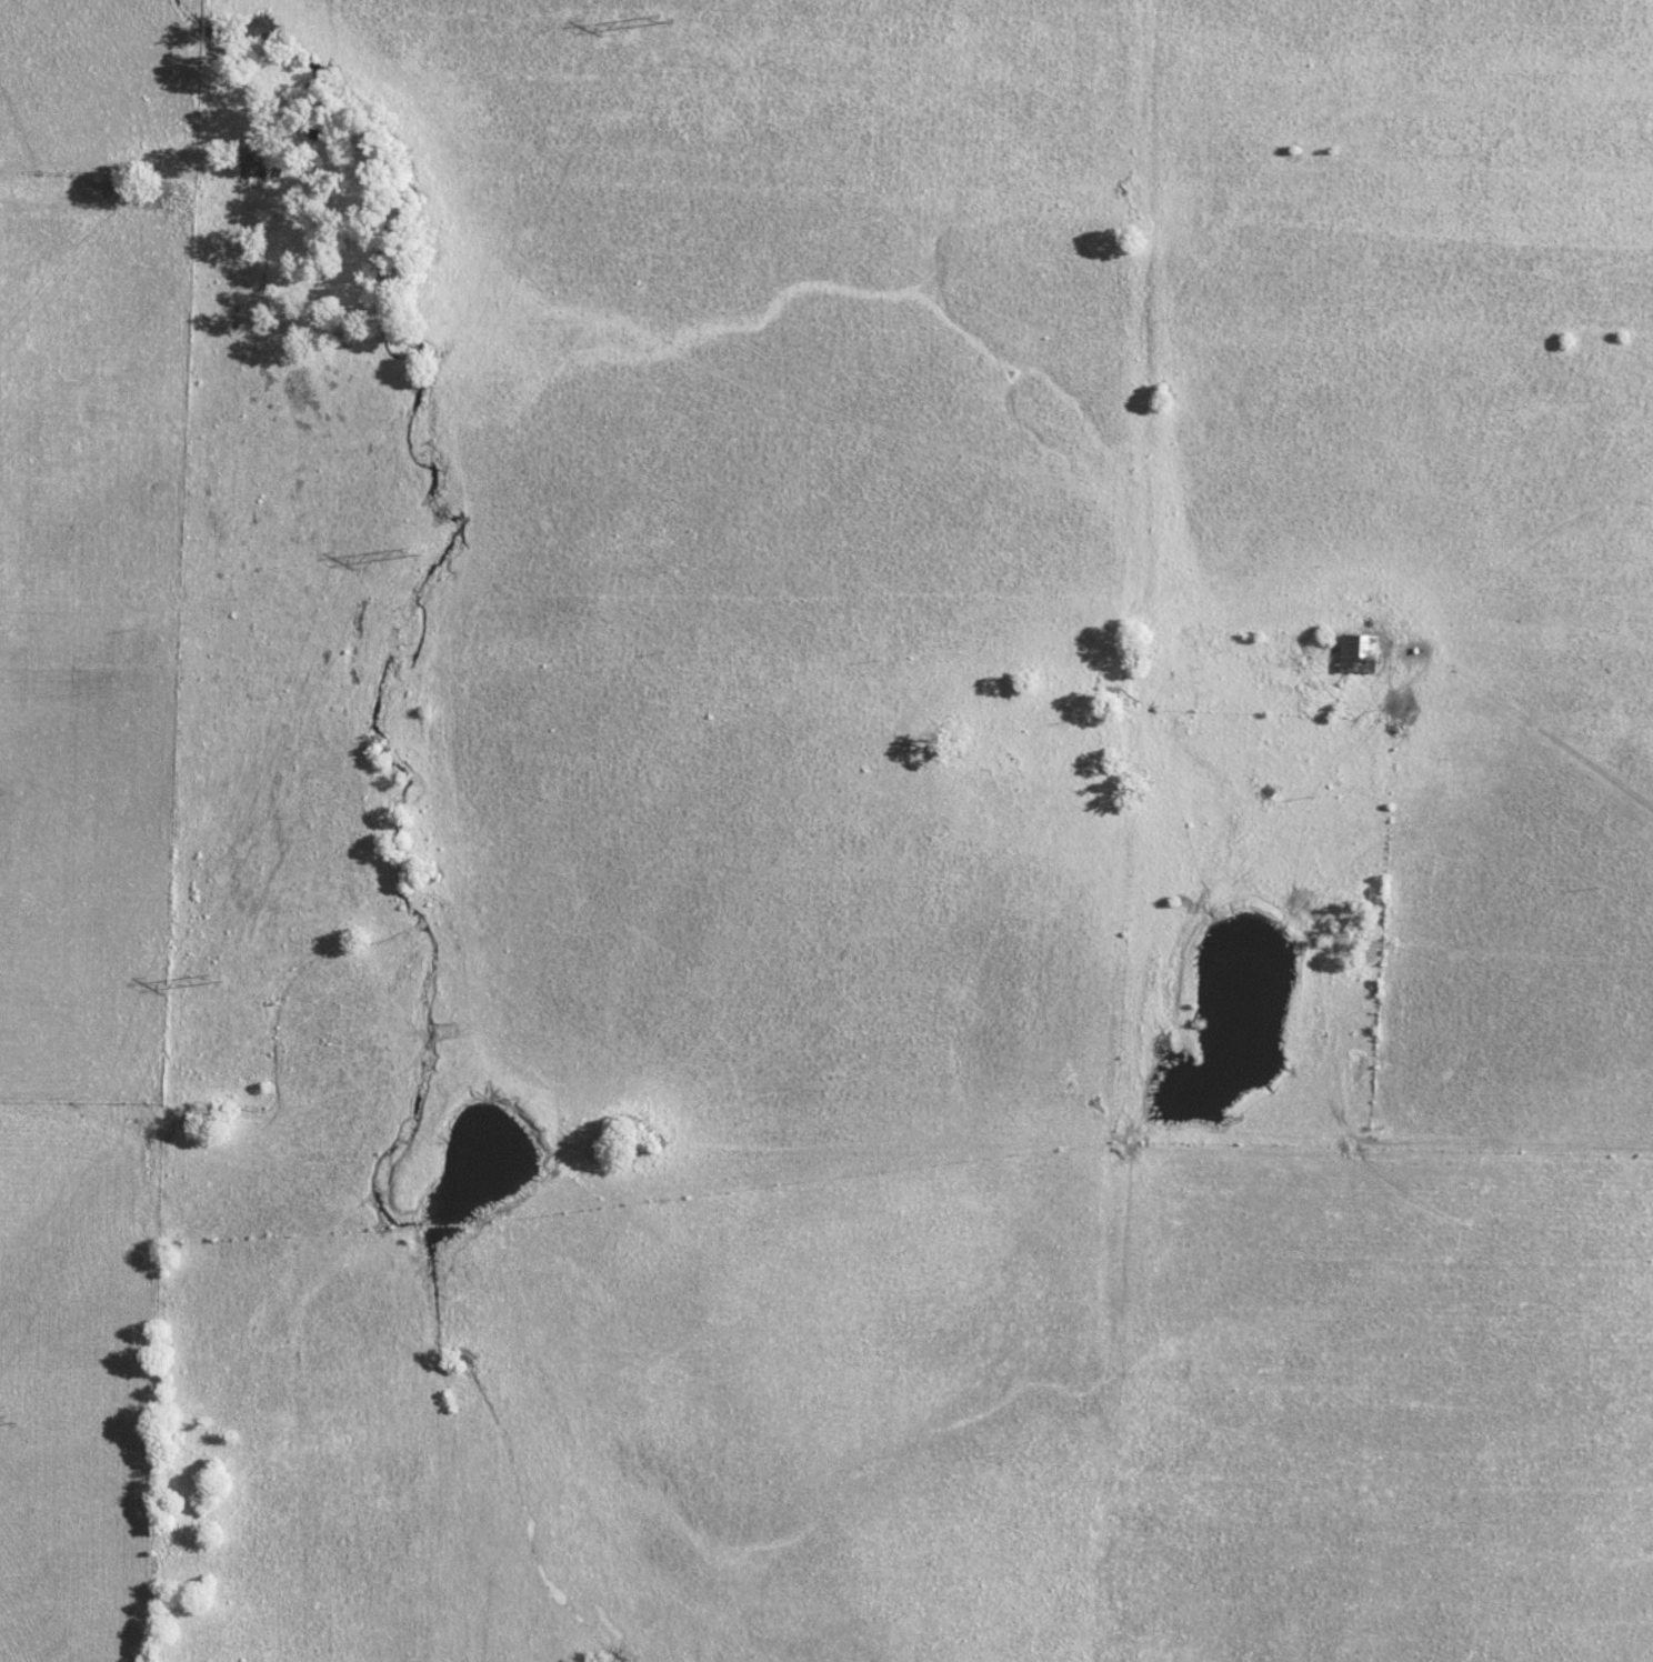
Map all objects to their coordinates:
power tower: (662, 18)
power tower: (417, 551)
building: (1360, 653)
road: (1515, 713)
power tower: (218, 978)
power tower: (13, 1419)

